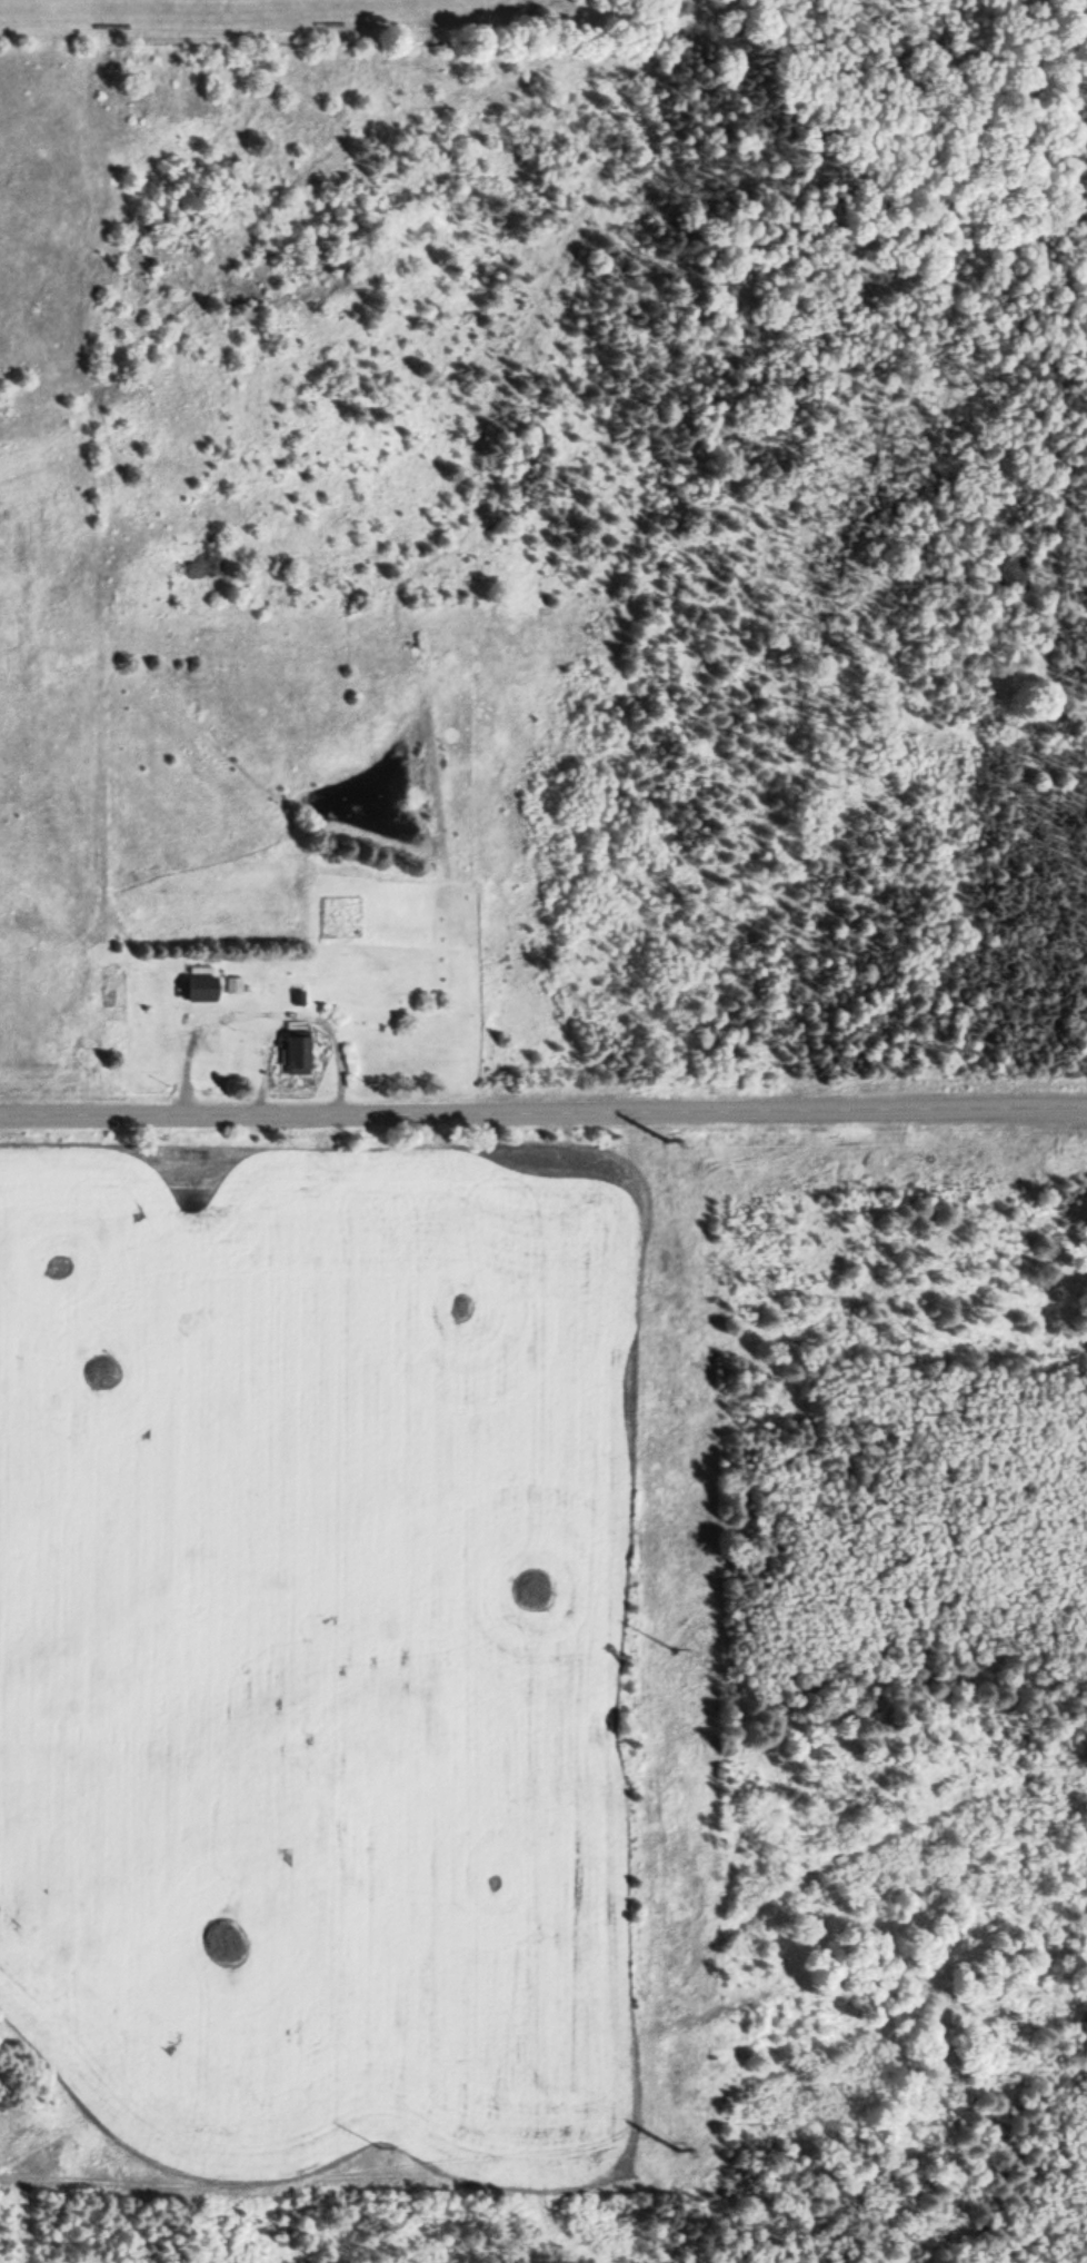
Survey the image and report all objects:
building: (235, 986)
building: (200, 989)
building: (295, 1053)
road: (543, 1105)

